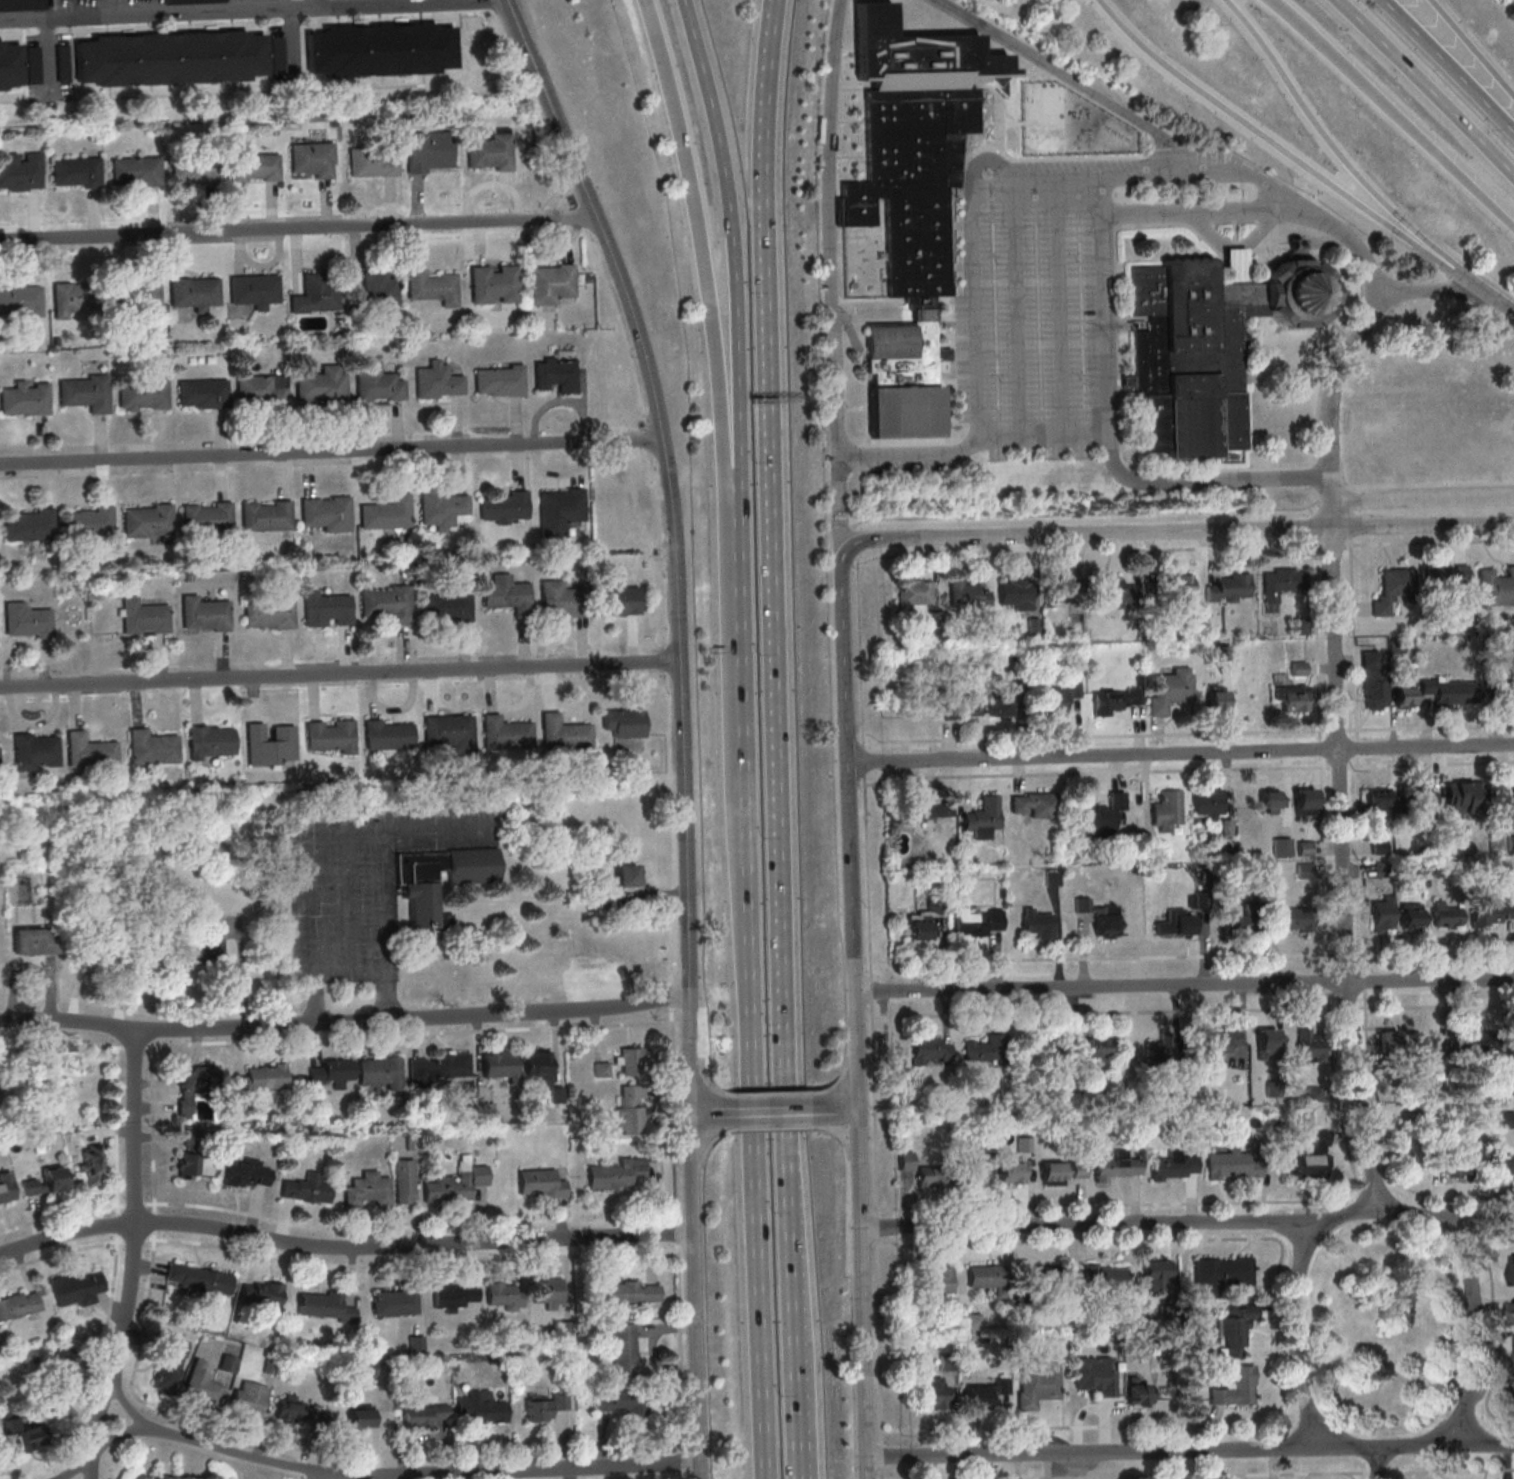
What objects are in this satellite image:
building: (208, 0)
road: (320, 4)
building: (22, 5)
road: (235, 11)
road: (1469, 48)
building: (379, 51)
building: (277, 55)
building: (168, 60)
building: (8, 62)
building: (62, 63)
building: (32, 64)
road: (1449, 66)
road: (1068, 77)
road: (1426, 87)
road: (551, 104)
road: (1392, 110)
road: (1271, 139)
road: (1329, 140)
building: (428, 151)
building: (490, 153)
building: (311, 159)
building: (371, 163)
parking lot: (1084, 166)
building: (253, 168)
building: (19, 169)
building: (193, 169)
building: (134, 170)
building: (75, 171)
road: (1208, 175)
road: (1030, 182)
road: (1105, 198)
building: (907, 202)
road: (1203, 214)
road: (297, 227)
road: (1353, 245)
road: (1234, 248)
road: (830, 254)
building: (1296, 255)
building: (550, 282)
road: (1473, 282)
building: (492, 283)
building: (433, 287)
building: (252, 288)
building: (192, 290)
building: (373, 291)
building: (1297, 292)
building: (133, 293)
building: (314, 293)
building: (76, 295)
building: (19, 297)
road: (1504, 304)
road: (977, 309)
road: (1062, 309)
road: (739, 310)
road: (712, 311)
road: (768, 311)
road: (1019, 311)
parking lot: (1034, 326)
road: (1107, 326)
road: (1359, 331)
building: (942, 355)
building: (1191, 356)
building: (553, 374)
building: (435, 380)
building: (498, 380)
building: (376, 384)
building: (319, 387)
building: (259, 389)
building: (83, 392)
building: (141, 393)
building: (200, 393)
building: (23, 399)
road: (973, 446)
road: (331, 451)
road: (1206, 481)
road: (1331, 488)
road: (1423, 497)
road: (1332, 506)
building: (504, 507)
building: (439, 509)
building: (558, 509)
building: (323, 511)
building: (387, 514)
building: (264, 515)
building: (205, 517)
road: (1332, 519)
building: (145, 520)
building: (86, 522)
road: (673, 523)
road: (1423, 523)
building: (27, 524)
road: (1085, 532)
building: (1448, 578)
building: (1282, 582)
building: (1178, 585)
building: (1496, 587)
building: (1055, 588)
building: (1230, 588)
building: (1393, 589)
building: (1116, 593)
building: (968, 594)
building: (1015, 594)
building: (507, 595)
building: (915, 595)
building: (561, 599)
building: (619, 601)
building: (386, 603)
building: (445, 607)
building: (323, 608)
building: (204, 613)
building: (267, 613)
building: (146, 618)
building: (26, 619)
road: (340, 674)
building: (1374, 680)
building: (1074, 689)
building: (1450, 691)
building: (1168, 692)
building: (1224, 696)
building: (1292, 697)
building: (1404, 697)
building: (1114, 700)
building: (1053, 702)
building: (1000, 706)
building: (961, 707)
building: (624, 722)
building: (447, 731)
building: (561, 732)
building: (503, 733)
building: (384, 734)
building: (327, 735)
building: (207, 740)
building: (267, 743)
building: (149, 747)
building: (87, 750)
building: (32, 751)
road: (1180, 753)
building: (1465, 796)
building: (1377, 798)
building: (1512, 798)
building: (1418, 799)
building: (1272, 801)
building: (1305, 801)
building: (1207, 803)
building: (1035, 805)
building: (934, 810)
building: (1166, 810)
building: (1098, 815)
building: (984, 818)
road: (849, 833)
building: (1379, 846)
building: (1282, 847)
road: (1342, 867)
building: (626, 875)
building: (417, 890)
building: (604, 900)
building: (1494, 909)
building: (1383, 914)
building: (1411, 914)
building: (1445, 916)
building: (1100, 917)
building: (1288, 918)
building: (925, 919)
building: (1180, 920)
building: (979, 921)
building: (1038, 923)
building: (1235, 923)
building: (34, 940)
building: (94, 948)
building: (195, 954)
road: (349, 972)
road: (687, 982)
road: (1184, 985)
road: (344, 1023)
road: (791, 1032)
building: (1387, 1042)
building: (1219, 1043)
building: (1266, 1043)
building: (1308, 1046)
building: (1480, 1046)
building: (929, 1048)
building: (1085, 1048)
building: (984, 1049)
building: (1432, 1050)
building: (1159, 1051)
road: (757, 1053)
building: (630, 1060)
building: (500, 1065)
building: (436, 1068)
building: (602, 1069)
building: (332, 1072)
building: (381, 1072)
building: (543, 1073)
building: (260, 1079)
building: (196, 1085)
building: (631, 1109)
road: (843, 1110)
road: (776, 1113)
road: (707, 1115)
building: (1505, 1119)
building: (1313, 1158)
building: (906, 1161)
building: (1450, 1162)
building: (93, 1164)
building: (1499, 1164)
building: (186, 1165)
building: (1174, 1165)
building: (1232, 1165)
building: (1118, 1166)
building: (1011, 1169)
building: (247, 1172)
building: (1062, 1172)
building: (617, 1174)
building: (976, 1175)
building: (928, 1176)
building: (46, 1181)
building: (404, 1181)
building: (457, 1182)
building: (541, 1183)
building: (6, 1187)
building: (307, 1189)
building: (366, 1189)
road: (1482, 1218)
road: (1162, 1223)
road: (678, 1238)
road: (343, 1247)
road: (132, 1257)
building: (1512, 1269)
building: (1222, 1273)
building: (1157, 1275)
building: (985, 1276)
building: (1045, 1277)
building: (1104, 1277)
building: (198, 1279)
building: (938, 1281)
building: (77, 1287)
building: (261, 1292)
building: (549, 1292)
building: (632, 1292)
road: (863, 1294)
building: (505, 1295)
building: (453, 1296)
road: (694, 1297)
building: (395, 1301)
building: (19, 1304)
building: (325, 1306)
building: (1513, 1312)
building: (1236, 1330)
road: (1472, 1330)
road: (1296, 1336)
building: (0, 1349)
building: (624, 1349)
building: (228, 1363)
building: (170, 1364)
building: (63, 1365)
building: (368, 1368)
building: (1095, 1374)
building: (201, 1385)
building: (1038, 1386)
building: (1235, 1388)
building: (985, 1392)
building: (936, 1393)
building: (1135, 1393)
building: (249, 1398)
building: (621, 1401)
building: (544, 1406)
building: (485, 1410)
building: (298, 1411)
building: (422, 1414)
building: (360, 1415)
building: (25, 1434)
road: (1481, 1442)
road: (1163, 1451)
road: (807, 1460)
road: (1377, 1464)
road: (394, 1475)
road: (328, 1478)

